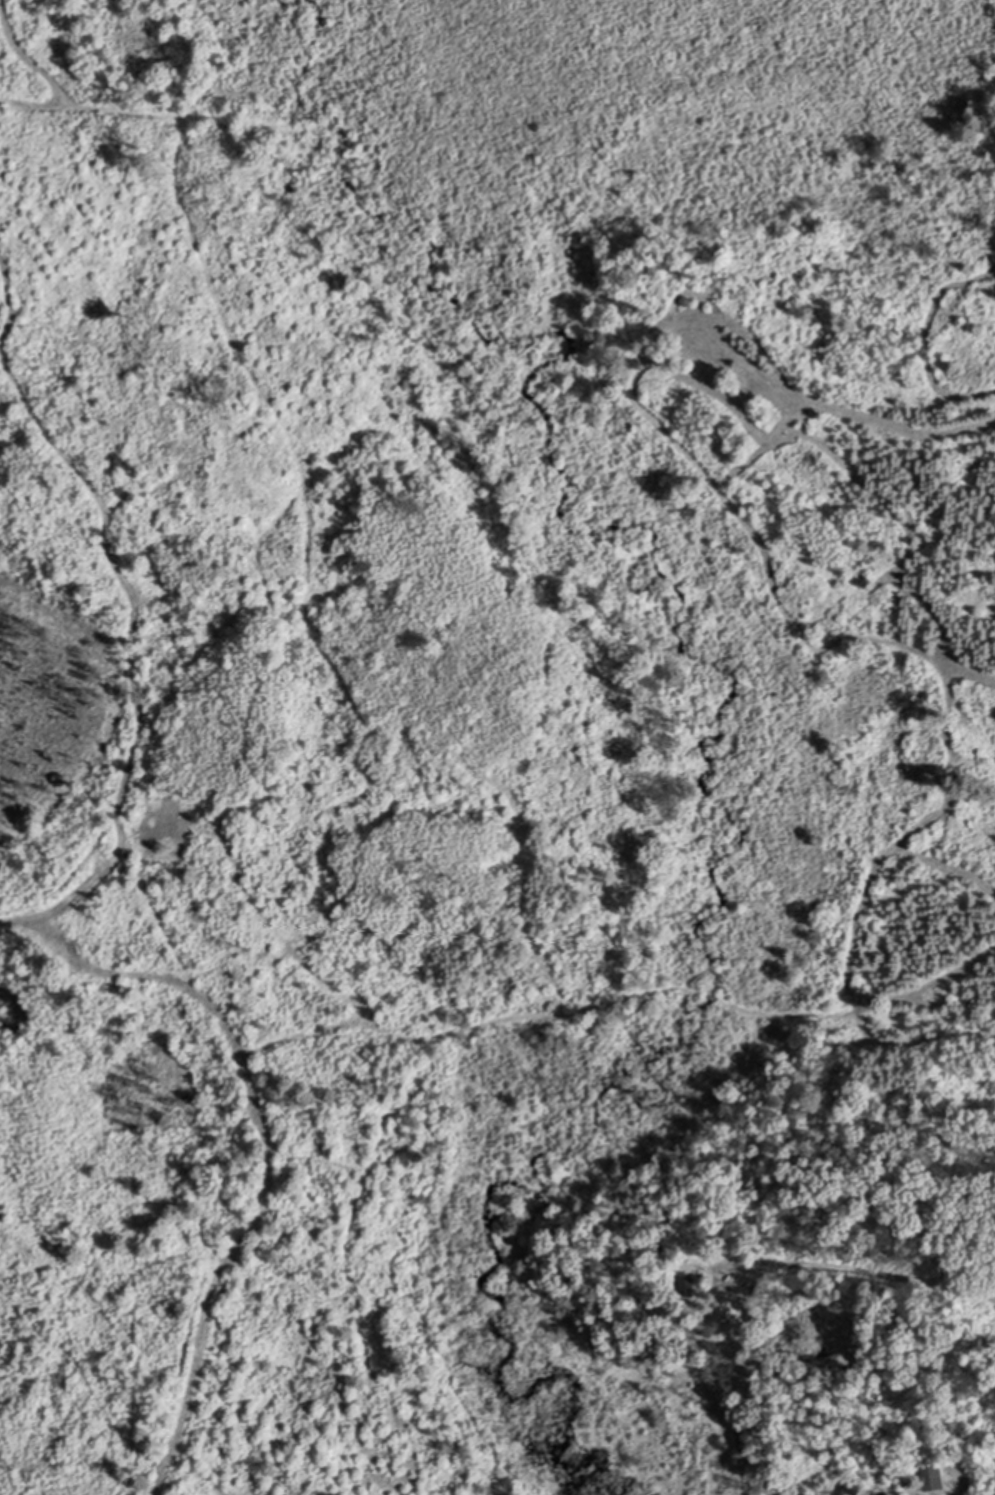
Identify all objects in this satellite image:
road: (491, 1020)

